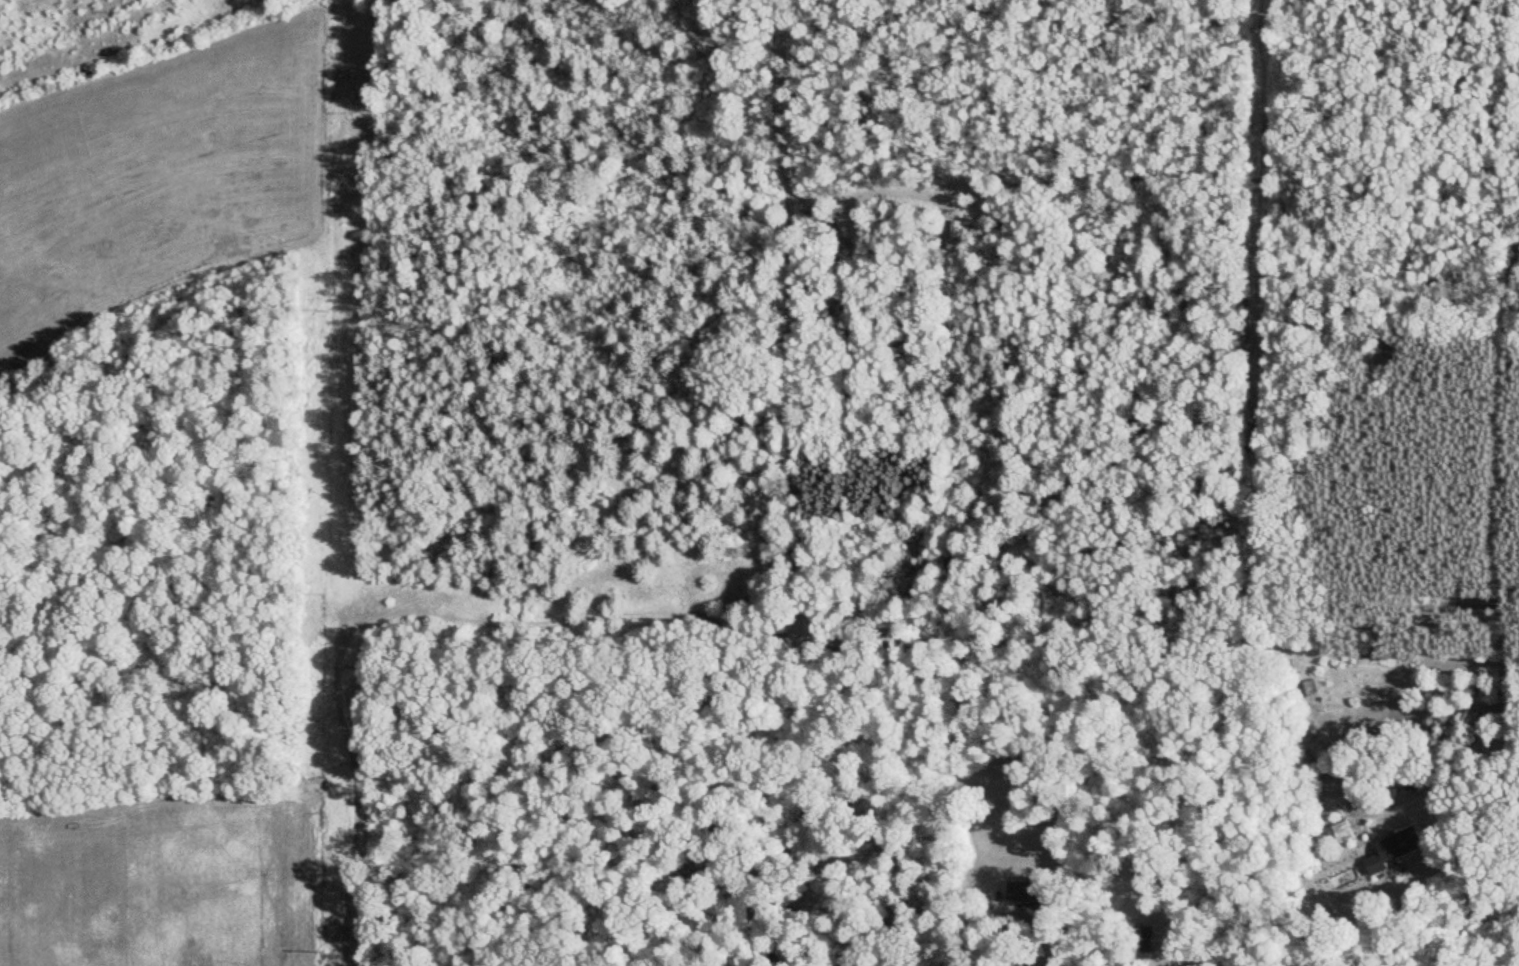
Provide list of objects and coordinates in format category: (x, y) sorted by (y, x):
road: (778, 88)
road: (863, 191)
building: (1346, 831)
building: (1391, 850)

